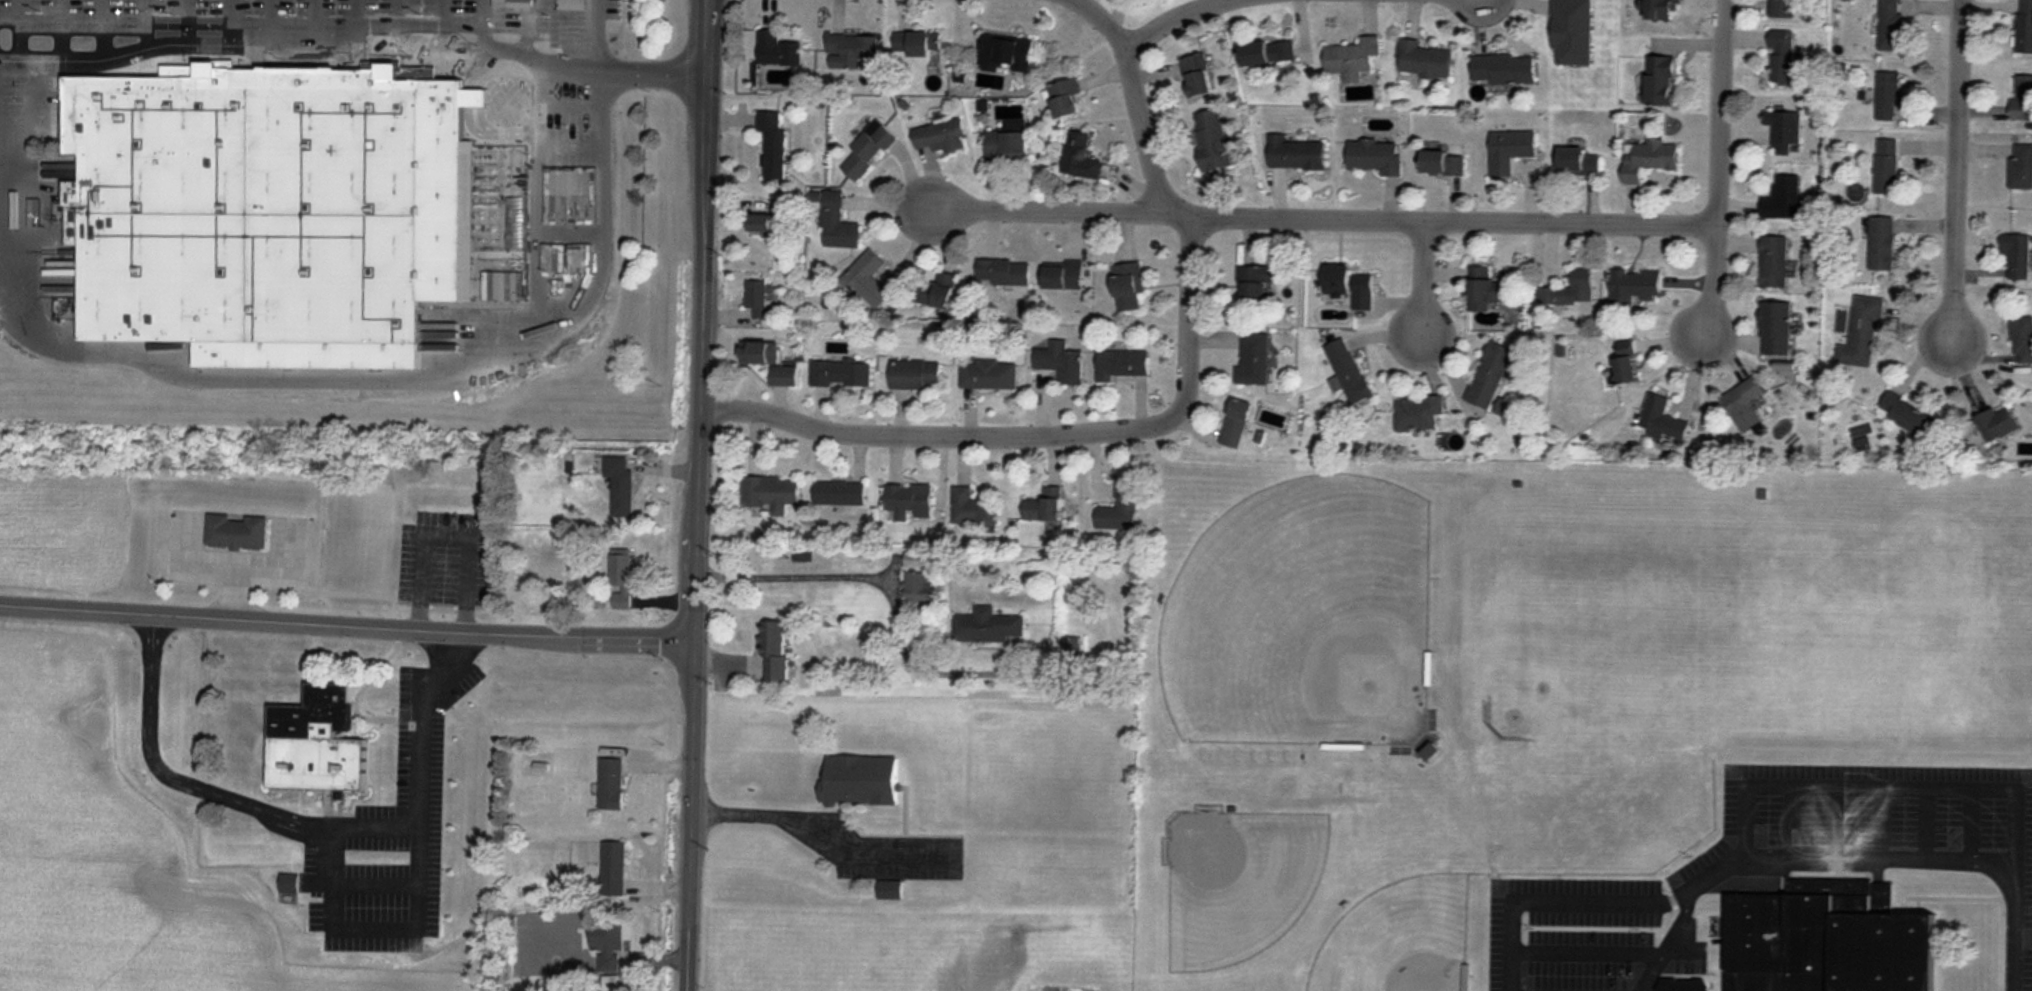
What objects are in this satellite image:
building: (1782, 9)
building: (1664, 14)
parking lot: (287, 20)
road: (1104, 20)
road: (1167, 20)
road: (402, 23)
road: (444, 23)
road: (484, 23)
building: (1890, 25)
building: (2024, 26)
road: (20, 28)
road: (356, 28)
road: (524, 28)
road: (59, 29)
road: (105, 29)
road: (144, 29)
road: (191, 29)
road: (231, 29)
road: (272, 30)
road: (316, 30)
building: (1572, 32)
road: (567, 33)
road: (600, 35)
road: (709, 35)
building: (916, 44)
building: (852, 48)
building: (778, 49)
building: (1267, 52)
building: (1006, 53)
building: (1781, 57)
road: (266, 59)
building: (1355, 60)
building: (1423, 60)
road: (564, 66)
building: (1503, 69)
road: (654, 70)
building: (1660, 81)
building: (1199, 84)
building: (1889, 96)
building: (2022, 98)
building: (1065, 99)
road: (570, 103)
road: (34, 110)
building: (941, 135)
building: (1784, 137)
building: (1213, 140)
building: (773, 143)
building: (1007, 145)
building: (868, 150)
building: (1510, 150)
building: (1295, 153)
building: (1080, 157)
building: (1375, 158)
building: (1648, 159)
building: (1579, 162)
building: (1443, 164)
building: (2020, 166)
building: (1887, 167)
road: (1718, 170)
road: (1956, 172)
building: (515, 184)
road: (570, 185)
building: (1783, 199)
road: (538, 203)
building: (265, 214)
road: (1322, 215)
building: (772, 220)
road: (1183, 220)
building: (839, 224)
road: (570, 232)
building: (1882, 244)
building: (2018, 256)
building: (1774, 263)
road: (569, 272)
building: (1004, 272)
building: (1063, 275)
road: (1422, 277)
building: (869, 278)
building: (1255, 284)
building: (1128, 285)
building: (1350, 285)
building: (1633, 287)
building: (1487, 289)
building: (945, 290)
building: (1570, 291)
building: (759, 297)
building: (1775, 328)
building: (1863, 334)
building: (2022, 340)
building: (1253, 359)
building: (769, 361)
building: (1061, 362)
building: (1122, 364)
building: (1625, 364)
building: (1347, 371)
building: (841, 373)
building: (916, 374)
building: (989, 375)
building: (1490, 375)
road: (411, 378)
building: (1744, 404)
building: (1418, 412)
building: (1906, 415)
building: (1662, 420)
building: (1235, 423)
building: (1998, 423)
road: (943, 432)
building: (620, 485)
building: (771, 493)
building: (840, 493)
building: (908, 500)
building: (1044, 506)
building: (972, 508)
building: (1119, 510)
road: (696, 531)
building: (236, 533)
building: (622, 579)
road: (881, 586)
building: (917, 587)
park: (1304, 620)
road: (346, 626)
building: (988, 627)
building: (1071, 648)
building: (774, 651)
building: (315, 741)
road: (171, 771)
building: (860, 779)
building: (611, 783)
road: (417, 822)
road: (374, 823)
road: (1770, 859)
building: (613, 868)
building: (288, 882)
building: (890, 889)
building: (1828, 939)
building: (607, 945)
building: (1684, 985)

